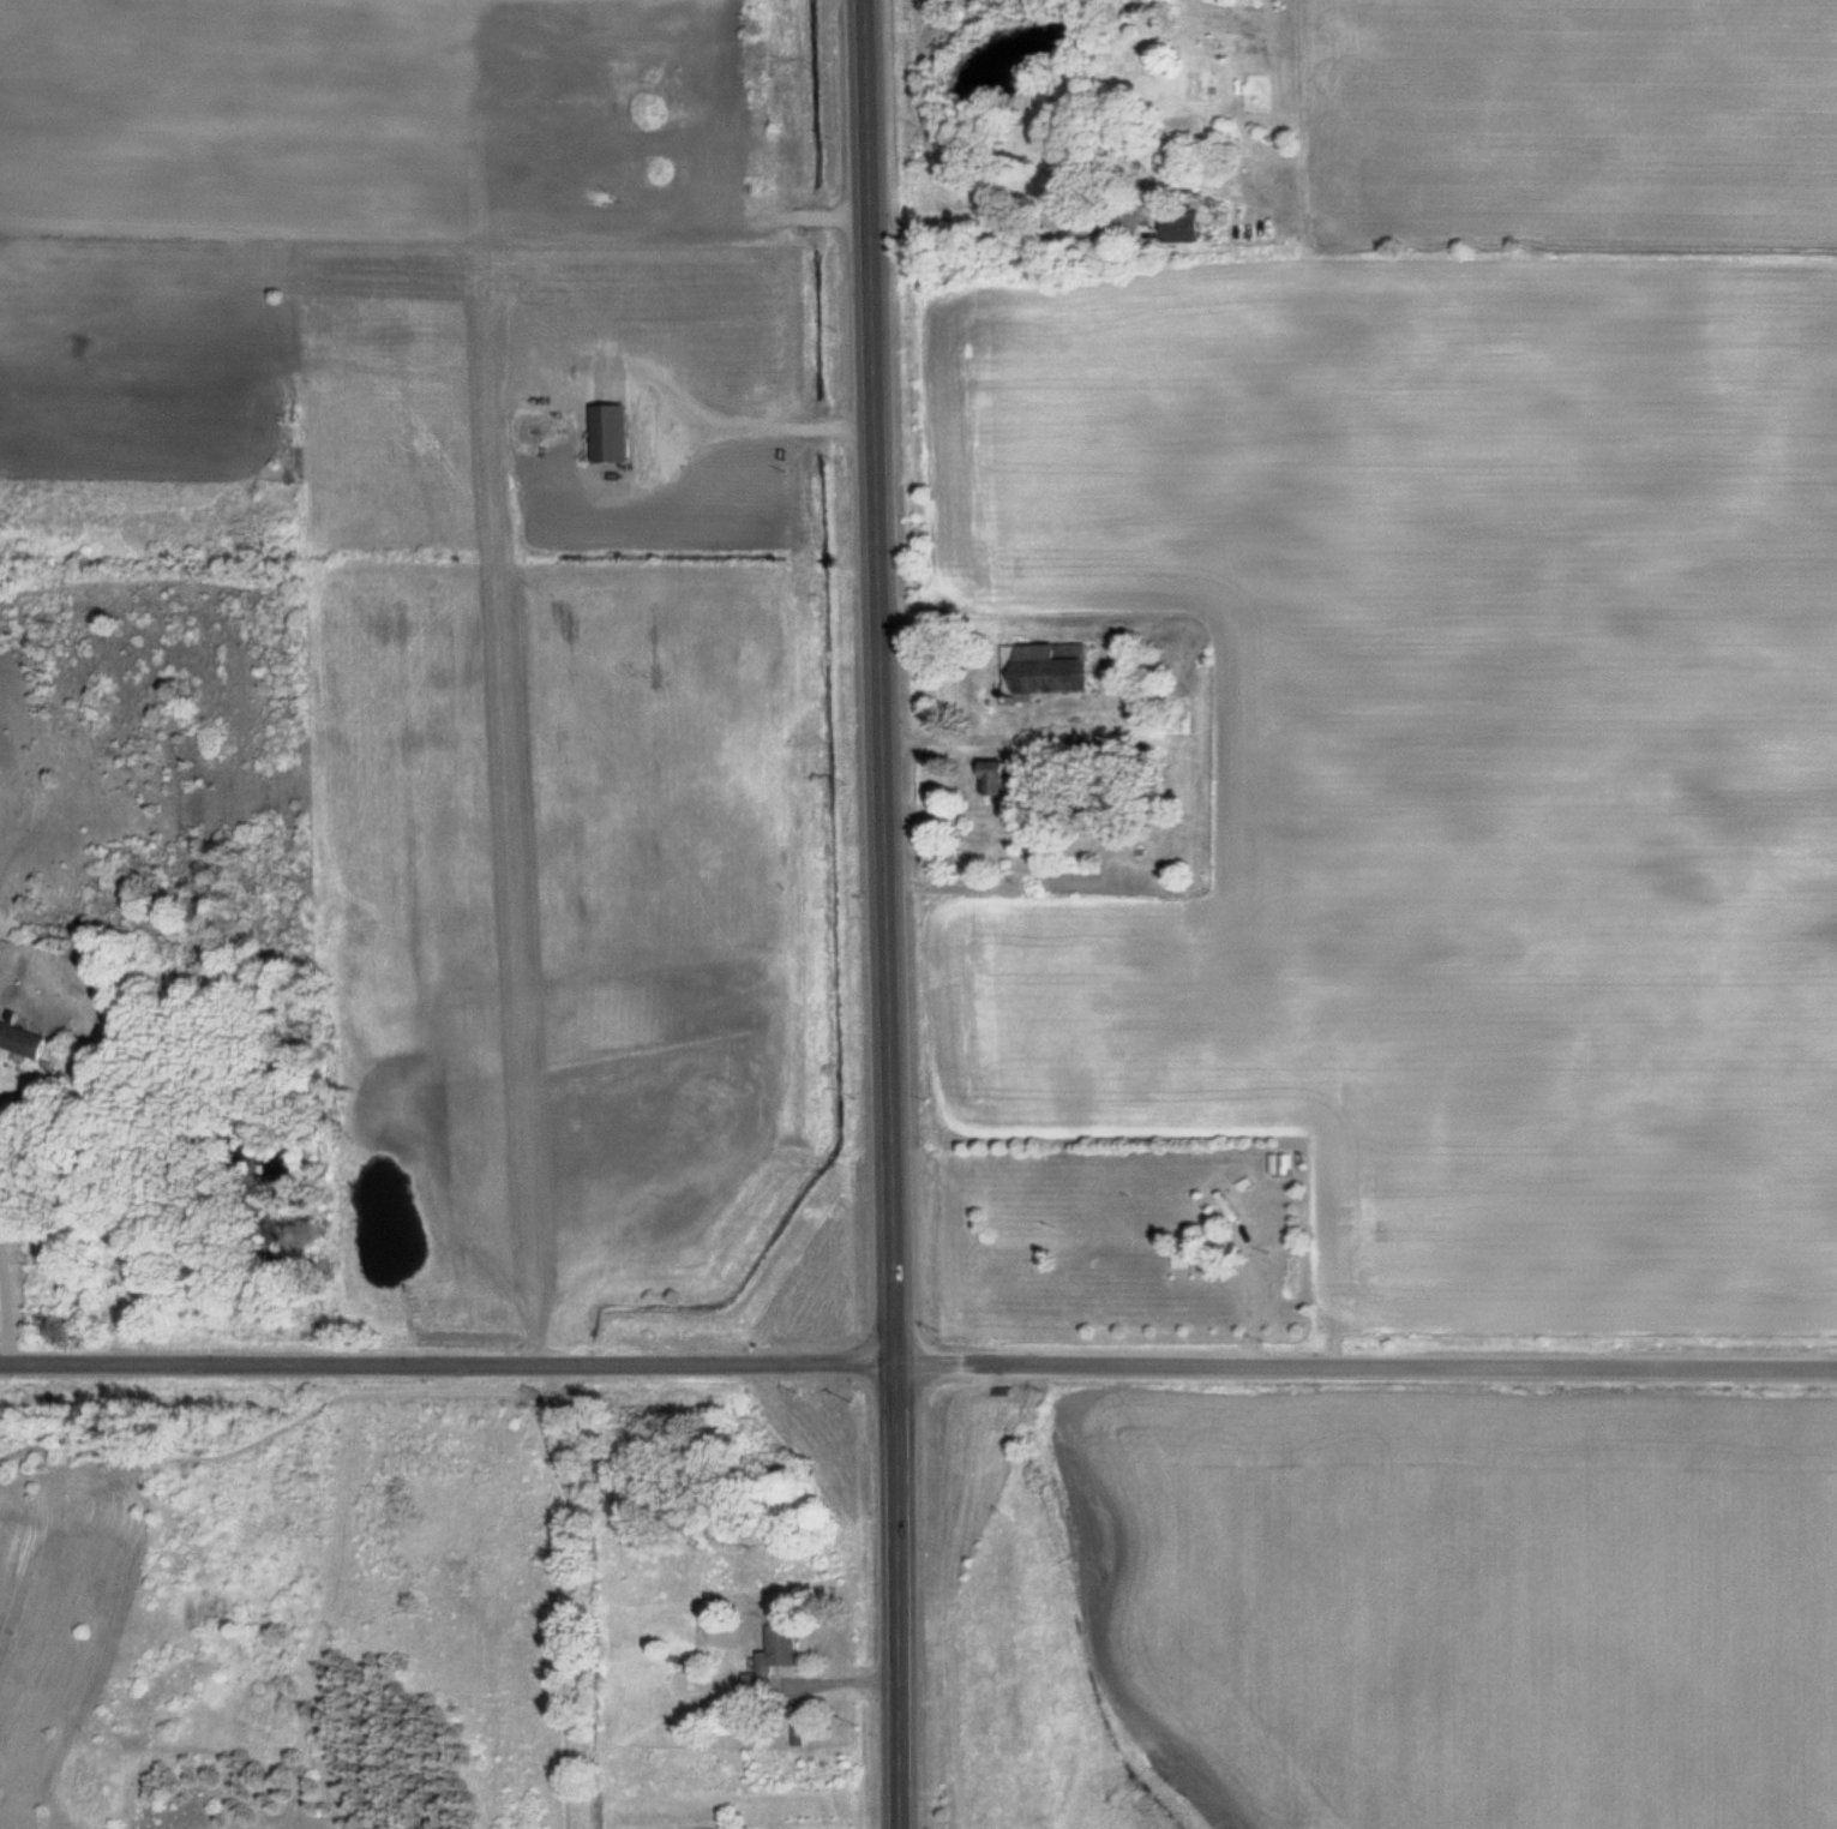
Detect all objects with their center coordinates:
building: (1080, 169)
building: (1185, 226)
building: (617, 433)
building: (1051, 668)
building: (1004, 778)
road: (886, 913)
building: (26, 1038)
road: (449, 1361)
road: (1367, 1363)
building: (778, 1659)

